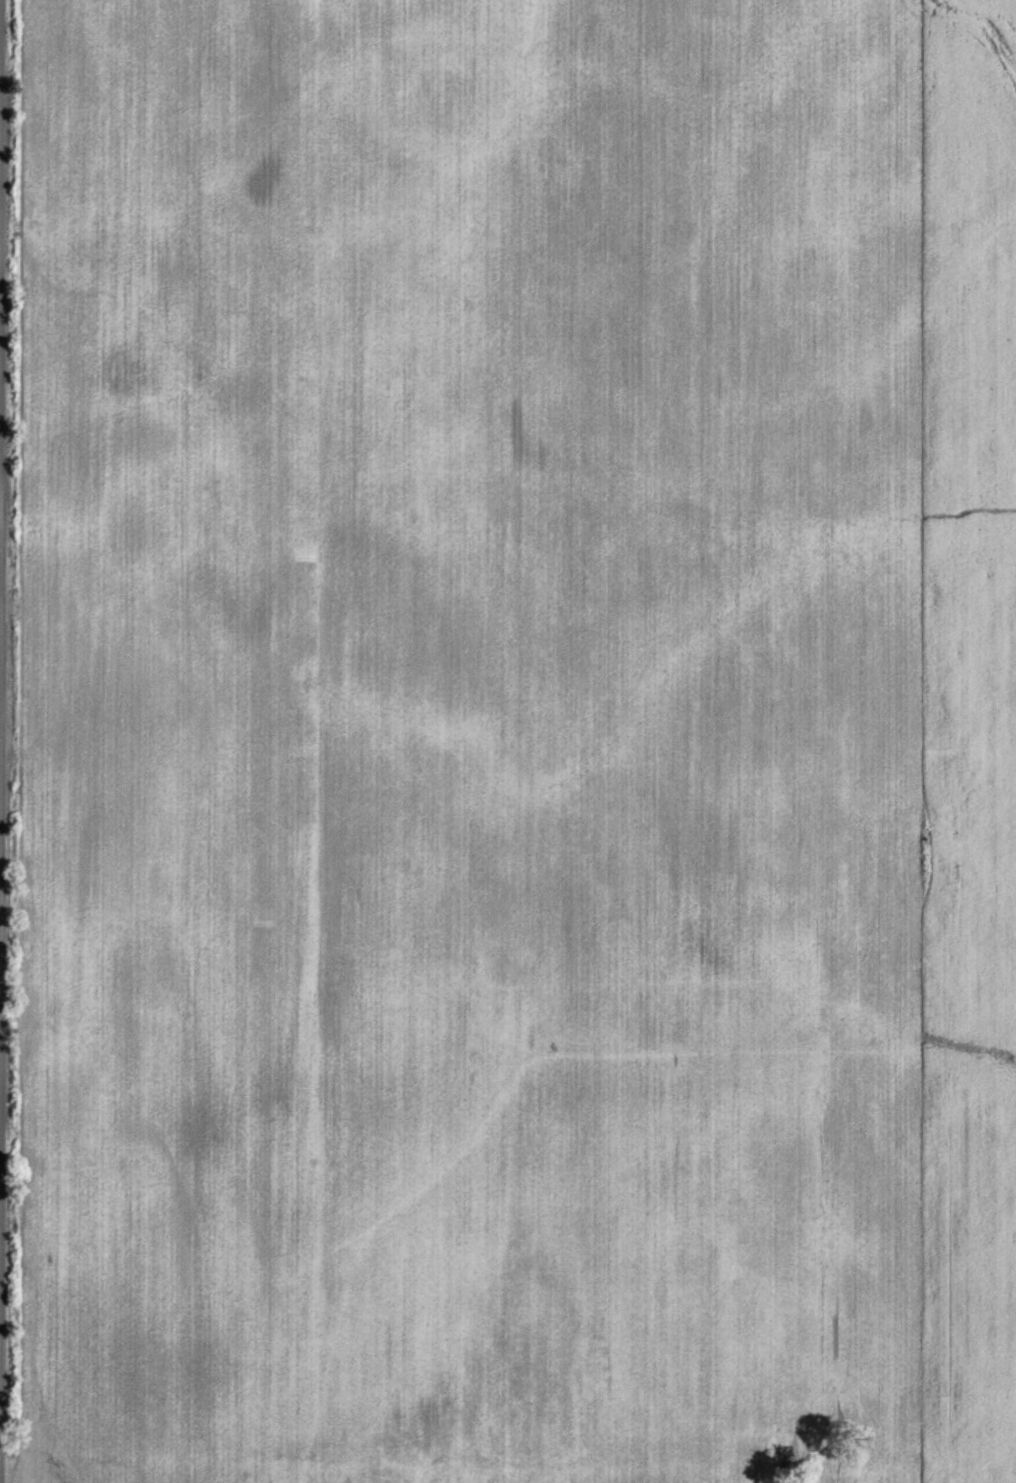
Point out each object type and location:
road: (3, 500)

